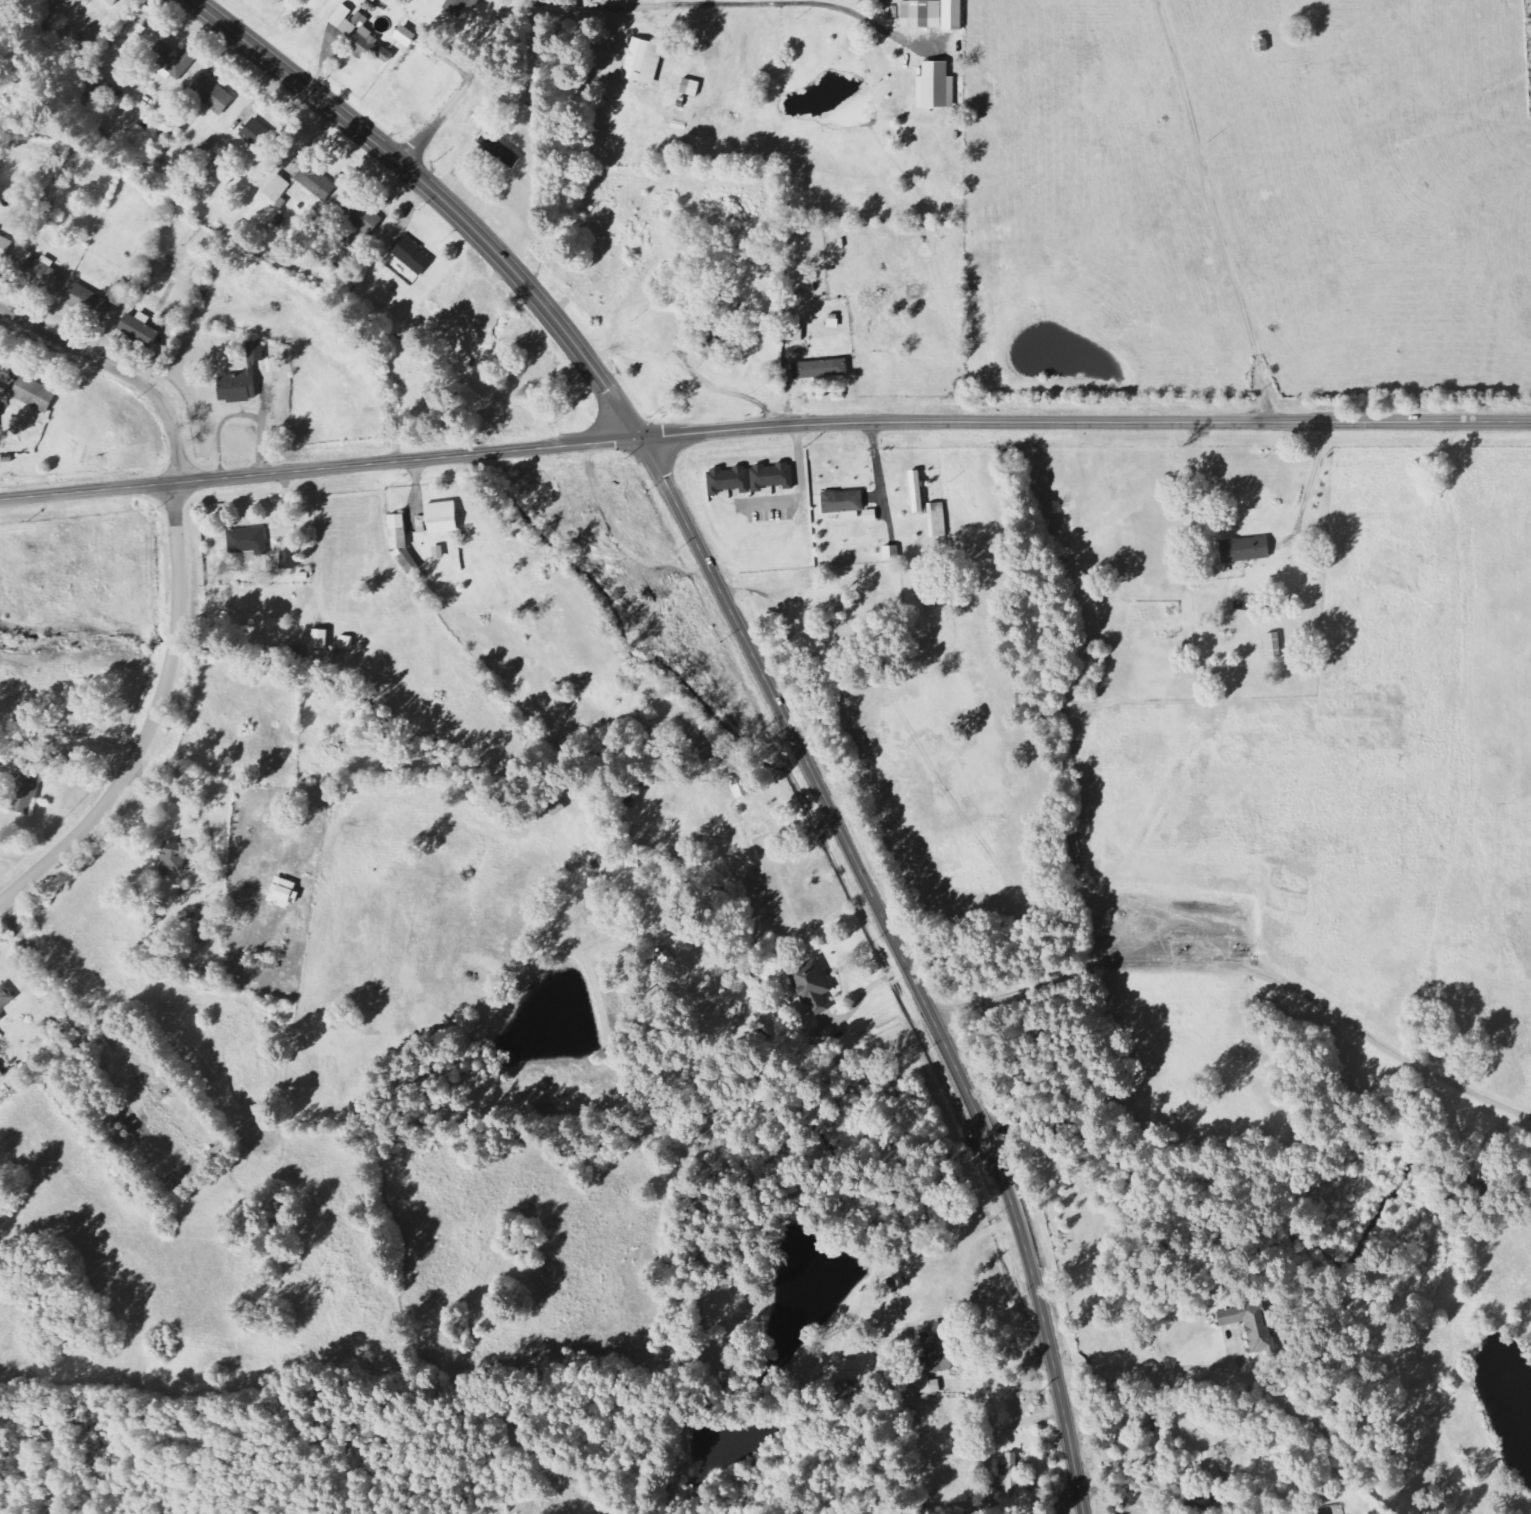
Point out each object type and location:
building: (90, 1)
building: (113, 2)
building: (922, 14)
building: (953, 15)
building: (361, 35)
building: (406, 35)
building: (177, 57)
building: (644, 61)
building: (937, 86)
building: (691, 87)
building: (214, 93)
building: (111, 97)
building: (258, 133)
building: (500, 150)
building: (317, 181)
building: (278, 188)
road: (440, 195)
building: (367, 219)
building: (5, 245)
building: (412, 255)
building: (41, 271)
building: (95, 298)
building: (140, 328)
building: (821, 369)
road: (119, 370)
building: (243, 378)
building: (35, 394)
road: (763, 427)
building: (752, 479)
building: (844, 502)
building: (439, 519)
building: (938, 520)
building: (1246, 550)
building: (892, 552)
building: (439, 553)
building: (289, 560)
building: (823, 594)
building: (321, 639)
building: (347, 642)
building: (1275, 646)
road: (152, 719)
building: (741, 785)
building: (26, 789)
building: (174, 857)
building: (284, 892)
road: (903, 960)
building: (266, 962)
building: (814, 986)
building: (6, 997)
building: (1, 1016)
building: (1, 1074)
building: (1250, 1325)
building: (936, 1347)
building: (928, 1385)
building: (1212, 1465)
building: (1011, 1475)

